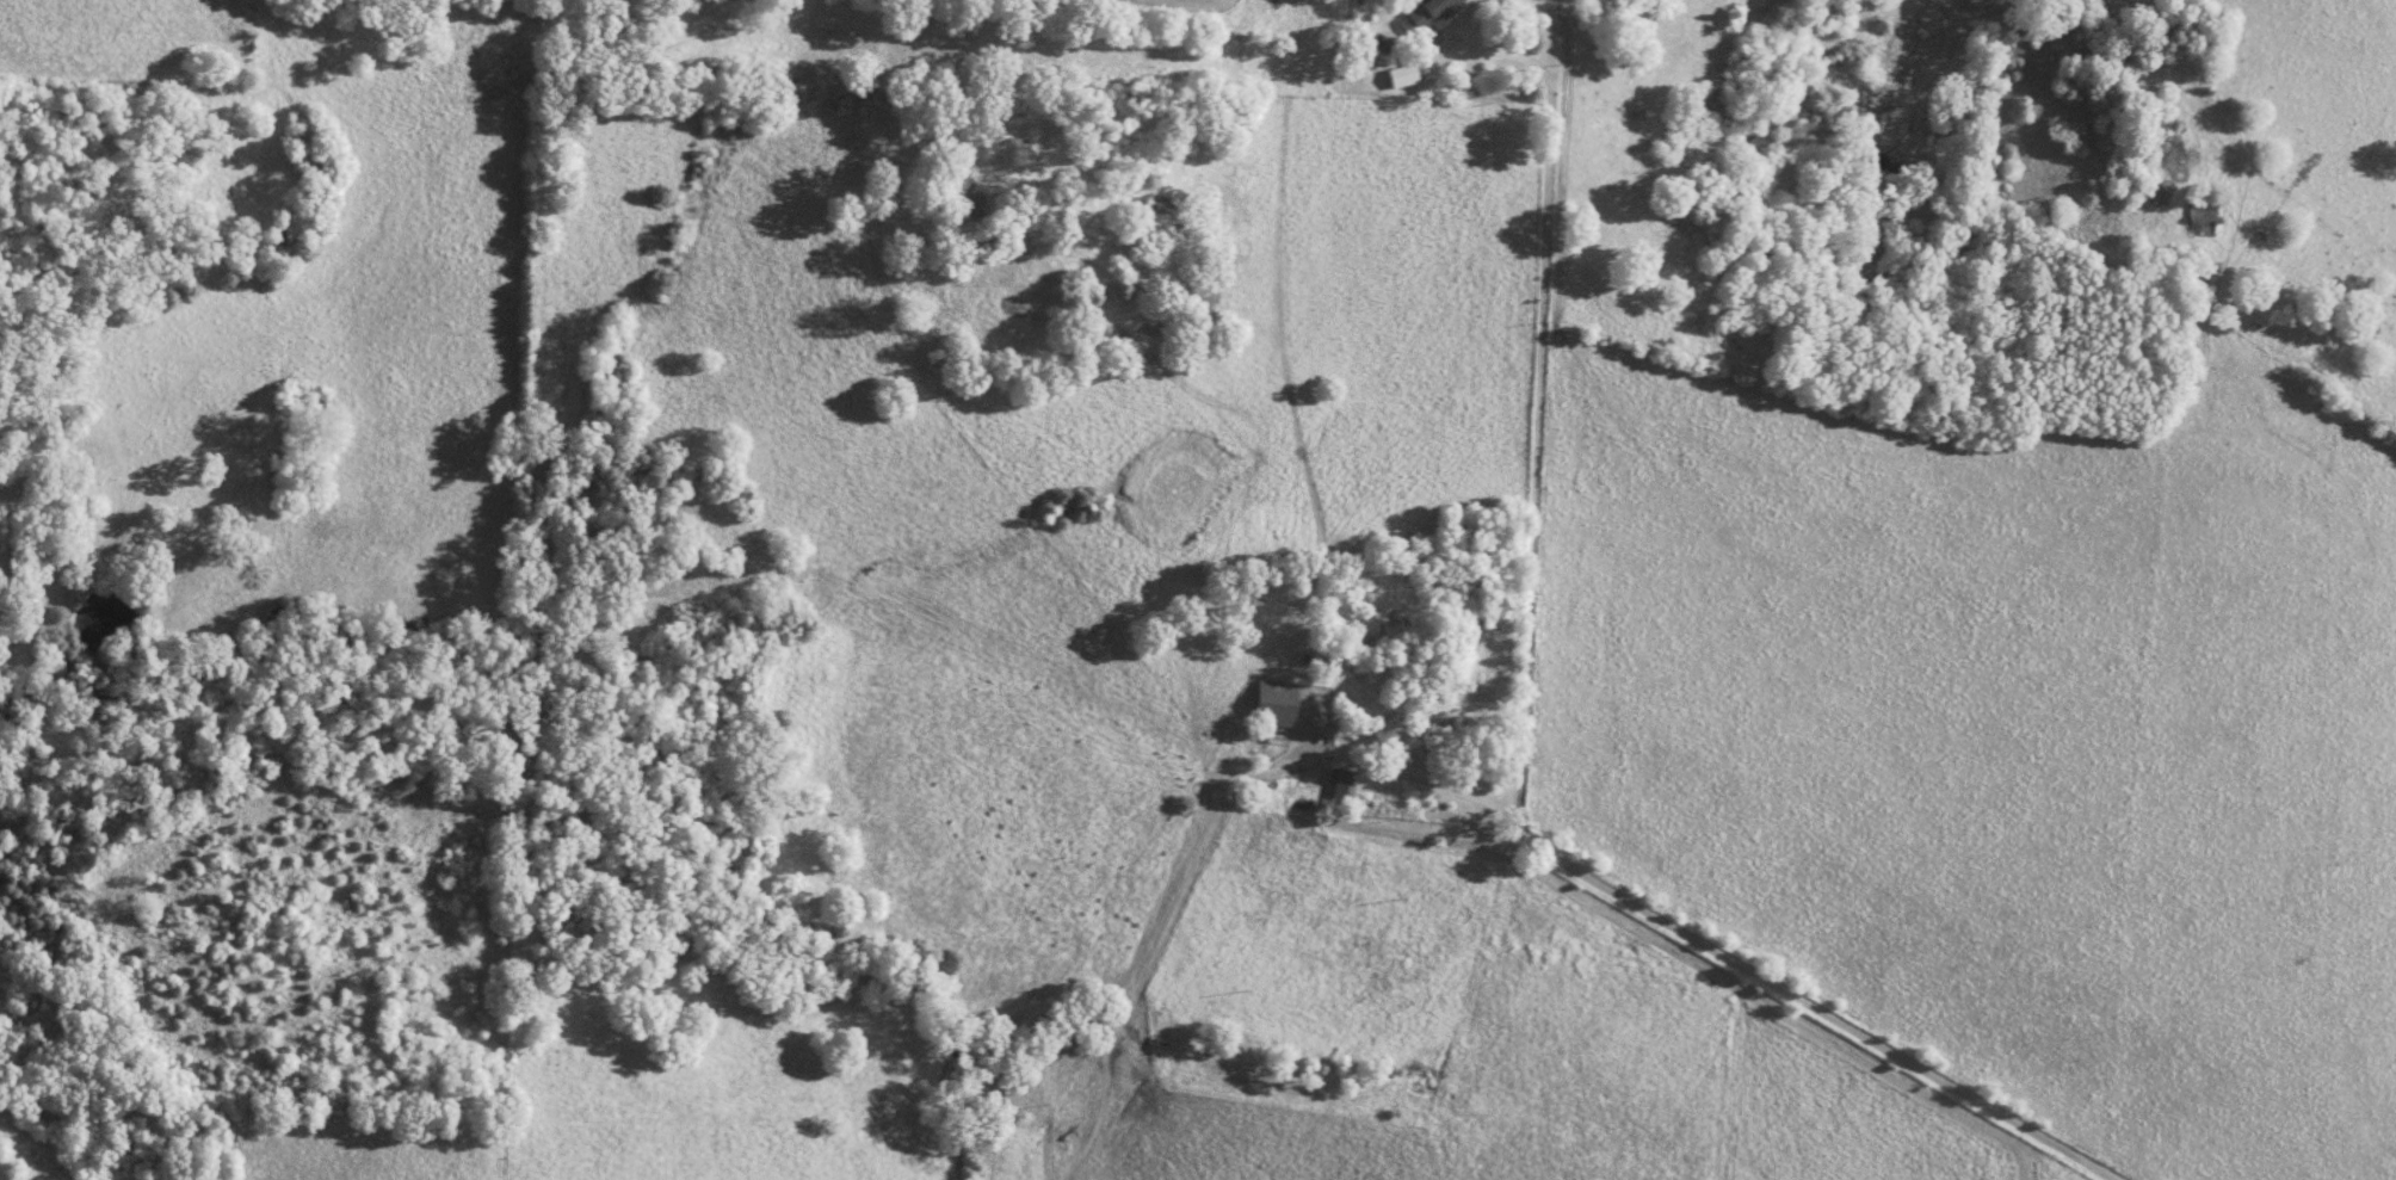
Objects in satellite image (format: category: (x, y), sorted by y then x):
building: (1427, 16)
building: (1278, 703)
building: (1457, 728)
road: (1525, 737)
building: (1345, 786)
building: (1301, 803)

